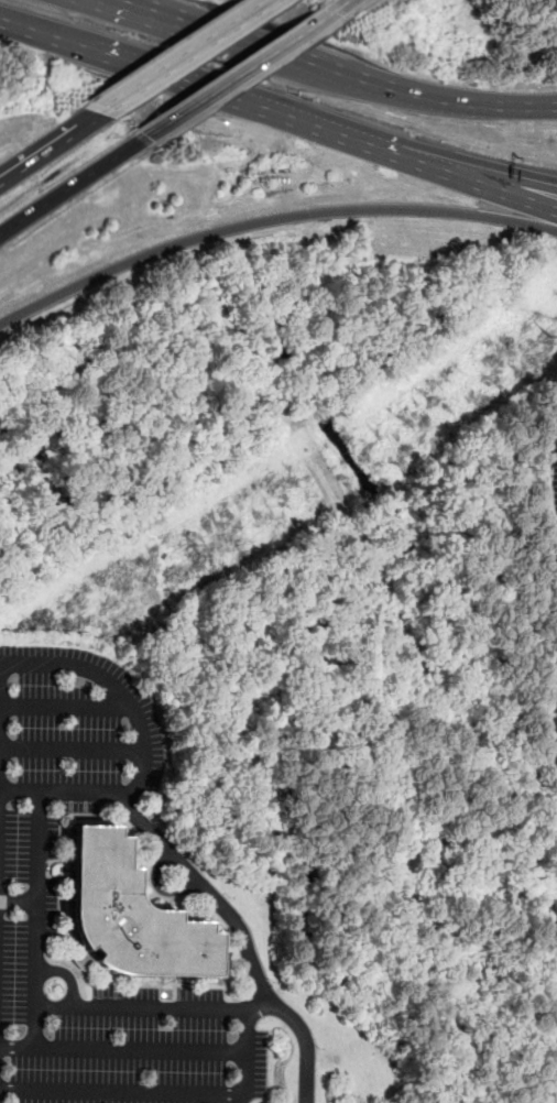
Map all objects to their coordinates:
road: (340, 7)
road: (256, 41)
road: (184, 56)
road: (234, 78)
road: (193, 87)
road: (468, 102)
road: (50, 146)
road: (471, 168)
road: (471, 182)
road: (69, 187)
road: (269, 218)
power tower: (303, 484)
road: (114, 691)
road: (65, 707)
parking lot: (74, 720)
road: (551, 721)
road: (70, 750)
road: (205, 889)
building: (128, 914)
road: (35, 919)
road: (65, 974)
road: (141, 1006)
parking lot: (102, 1007)
road: (122, 1049)
road: (173, 1090)

